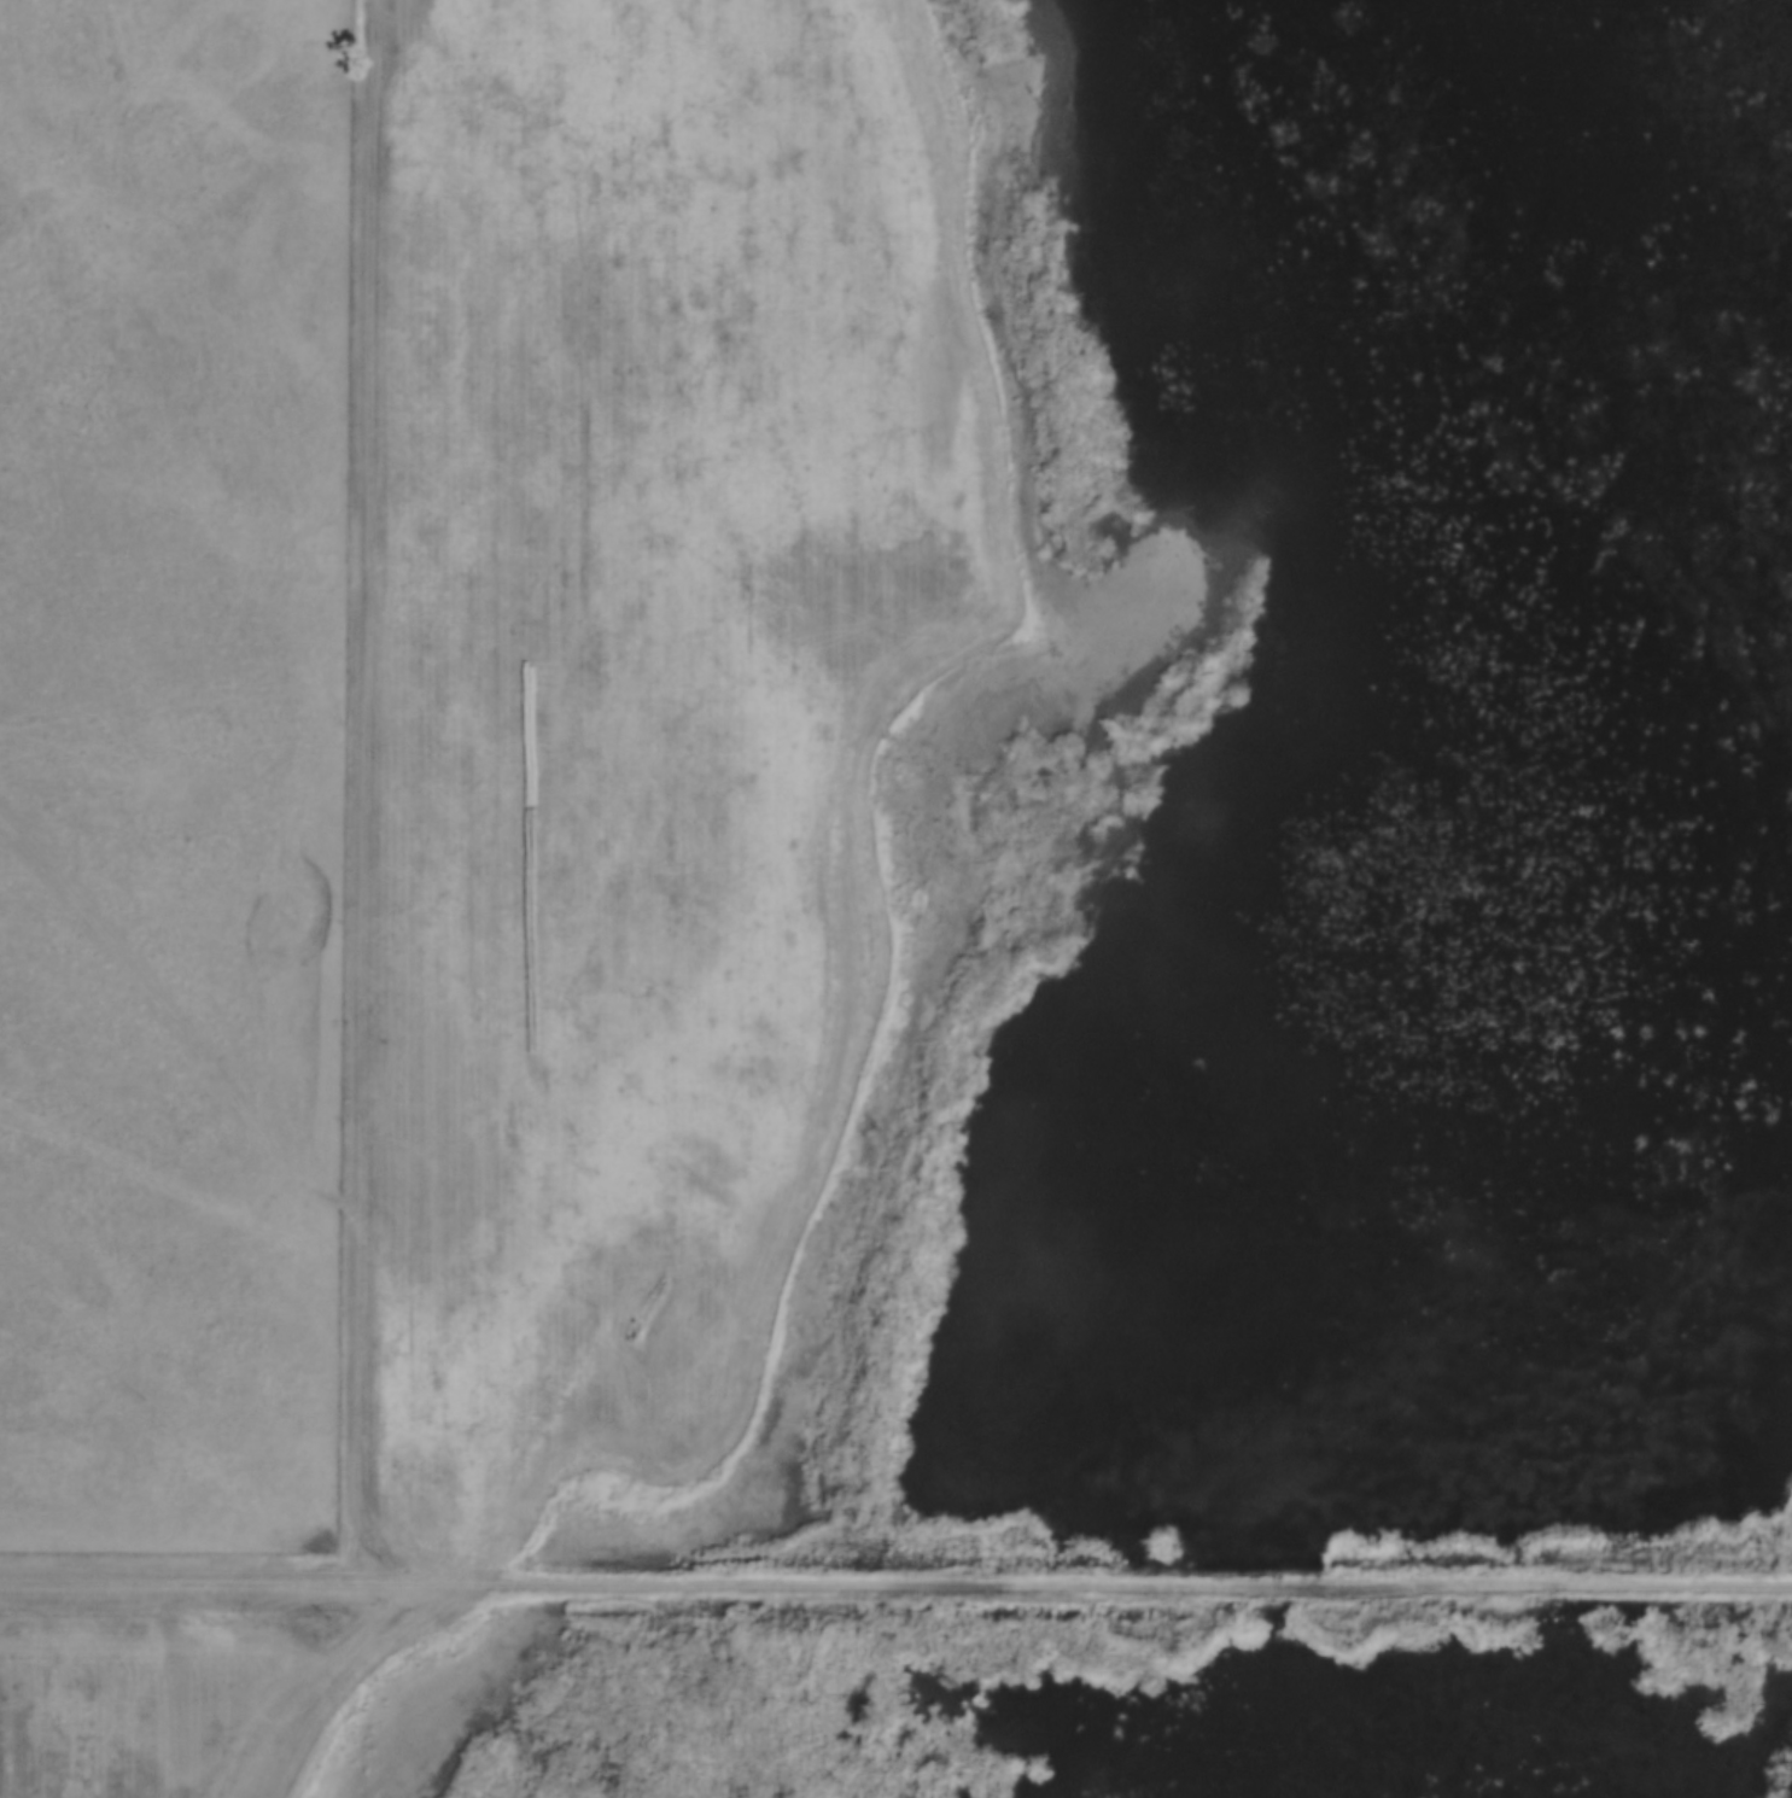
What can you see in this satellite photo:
road: (367, 790)
road: (179, 1021)
road: (895, 1582)

